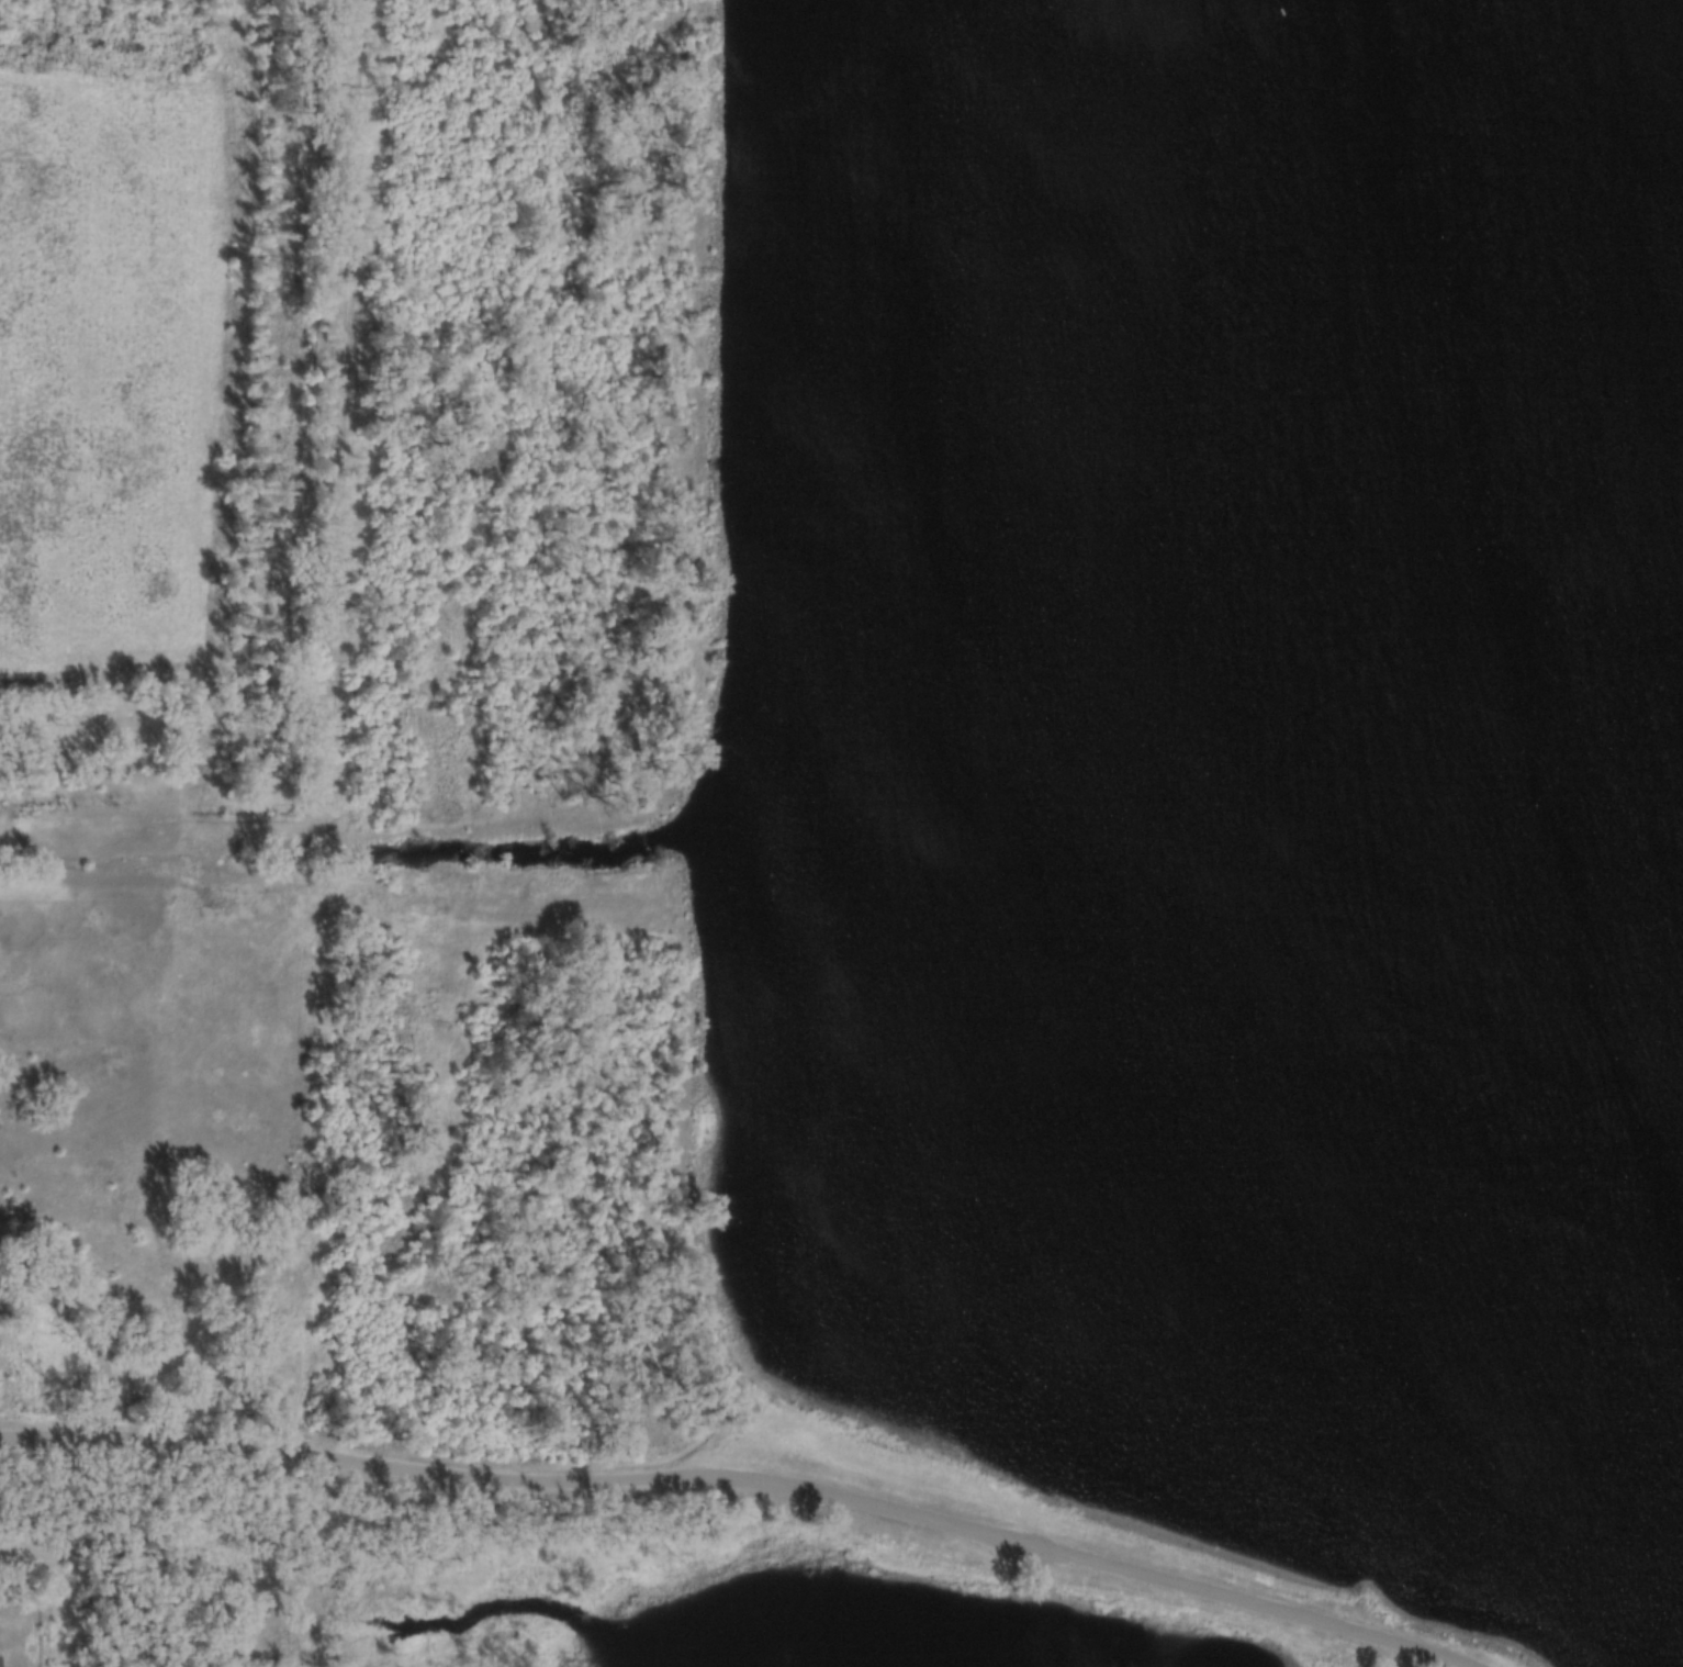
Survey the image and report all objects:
road: (742, 1475)

